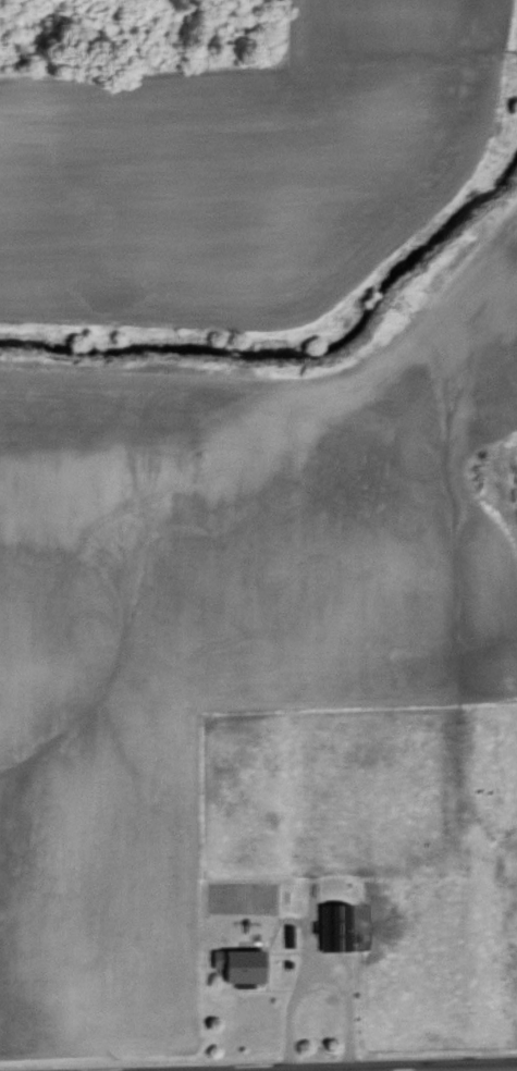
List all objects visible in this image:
building: (337, 924)
building: (241, 964)
road: (318, 983)
road: (373, 1068)
road: (399, 1069)

